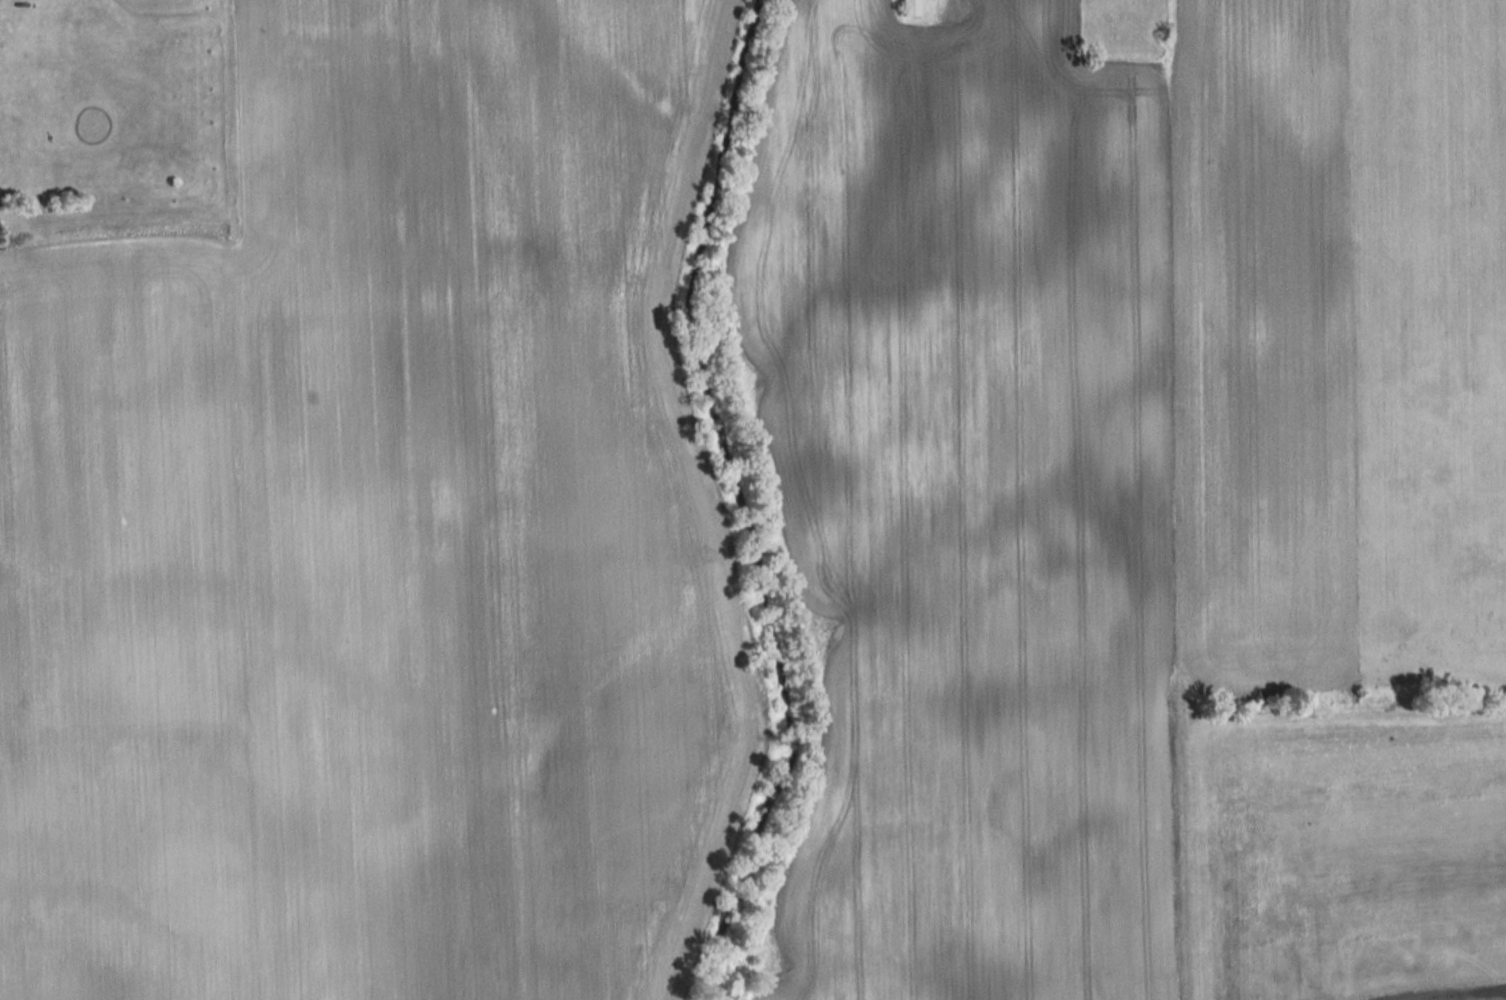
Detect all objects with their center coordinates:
building: (909, 8)
crop: (1262, 341)
crop: (967, 495)
crop: (379, 536)
road: (1478, 997)

